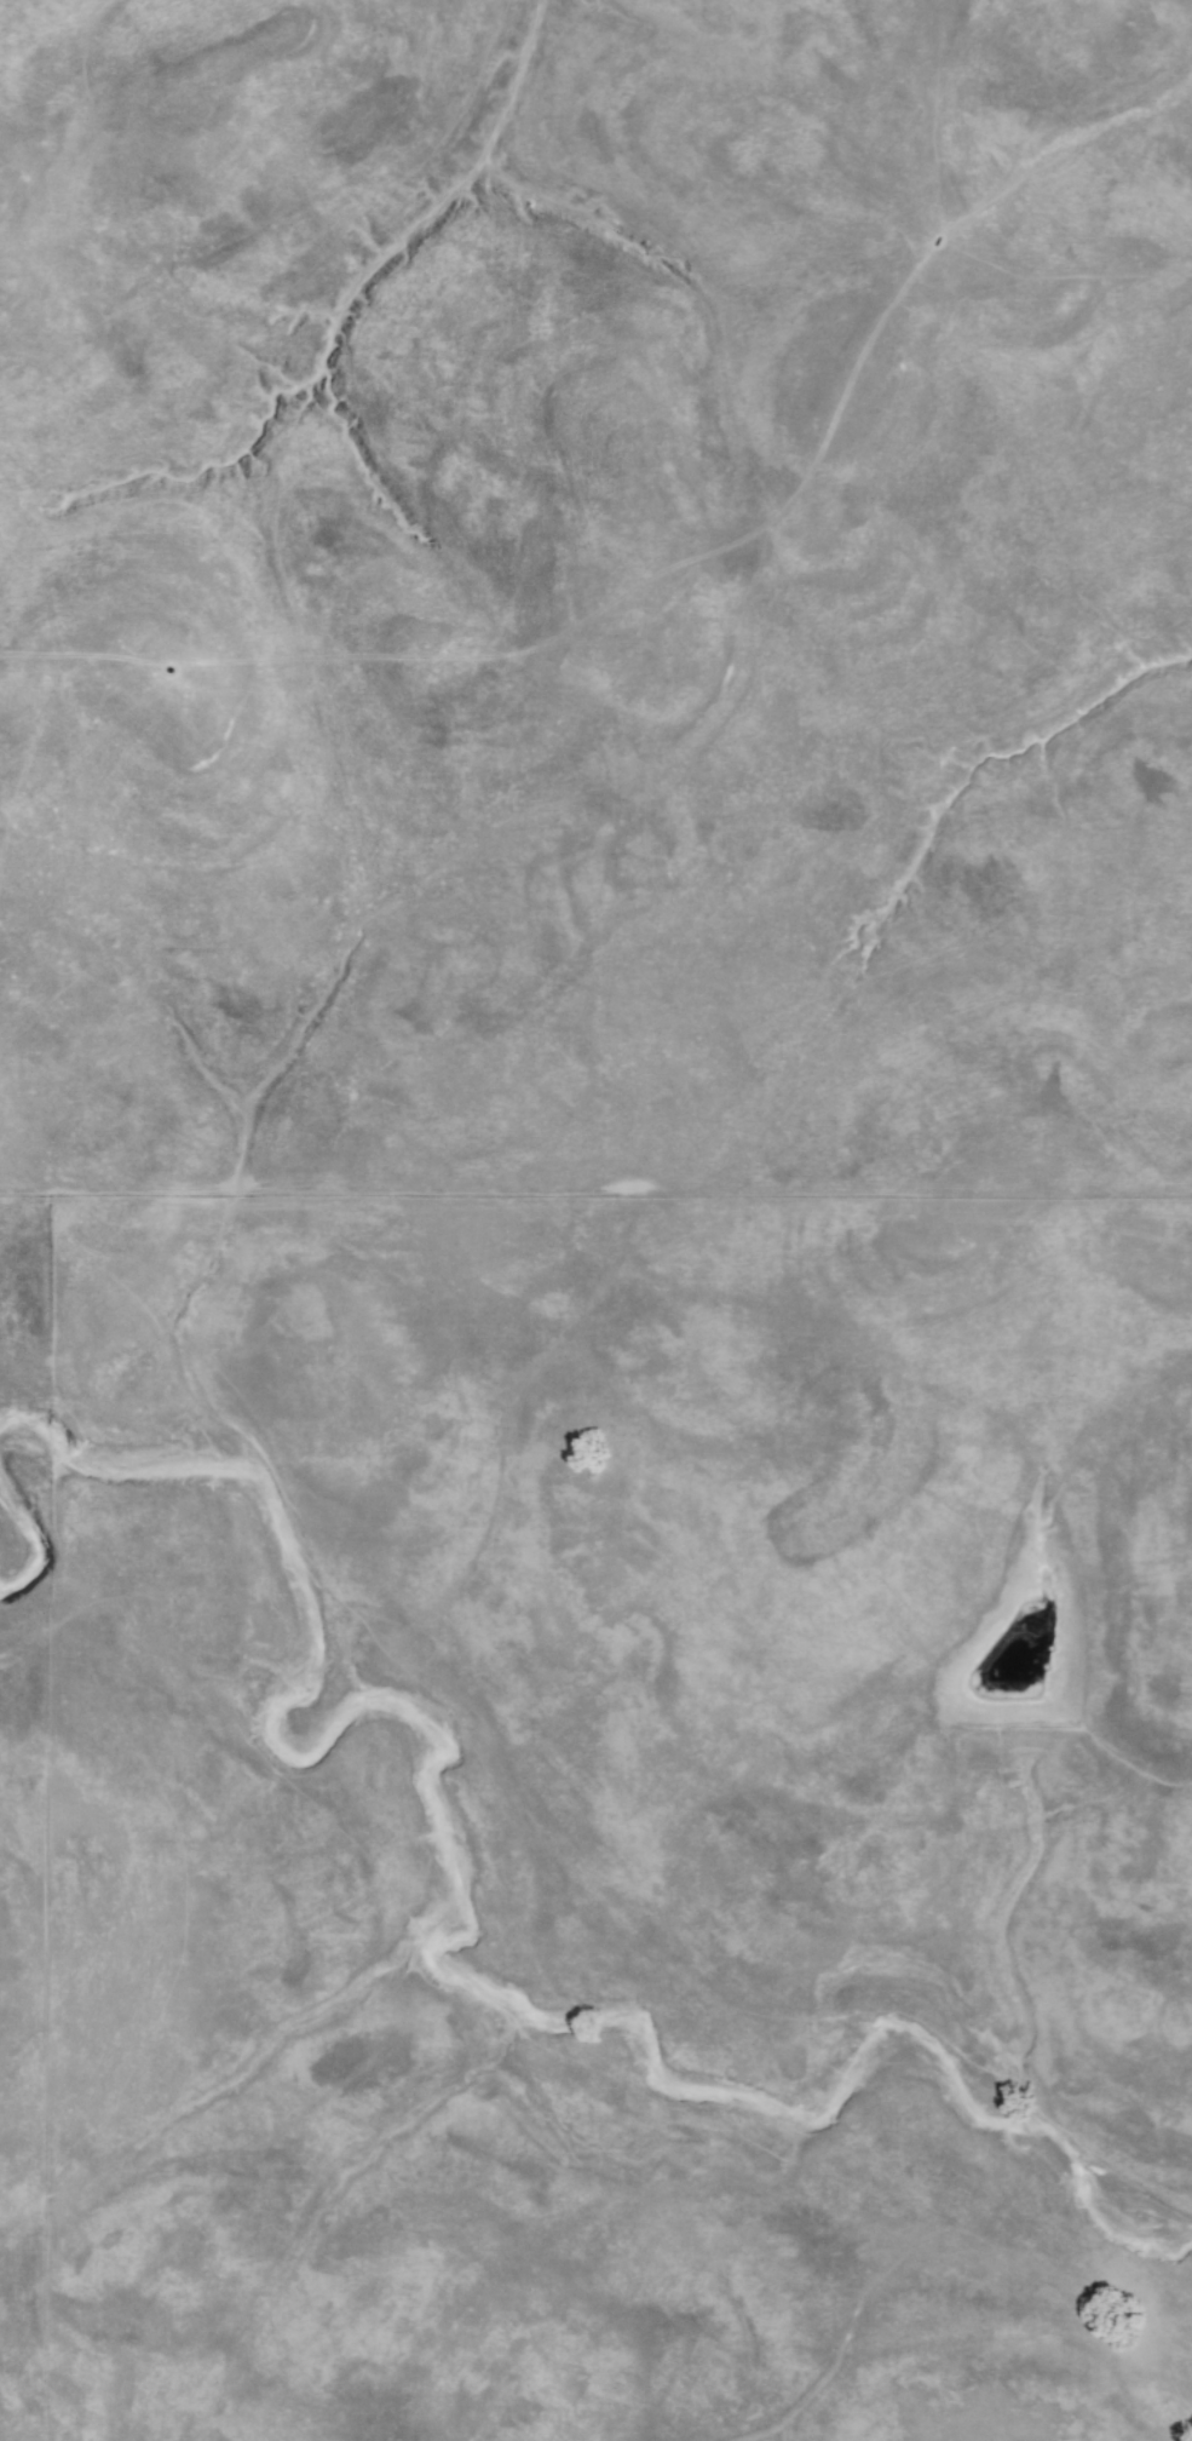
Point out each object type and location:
dam: (1013, 1716)

